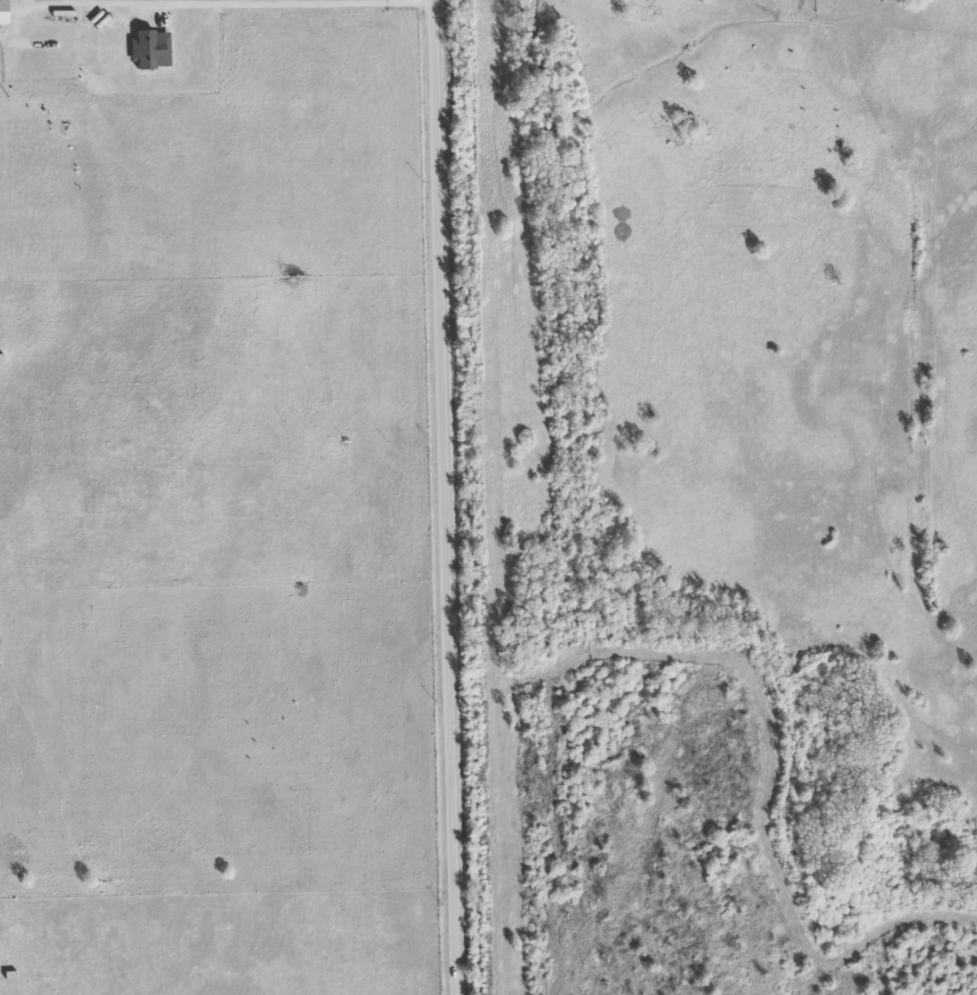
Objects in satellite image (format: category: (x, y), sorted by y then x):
building: (2, 12)
building: (149, 49)
road: (445, 497)

